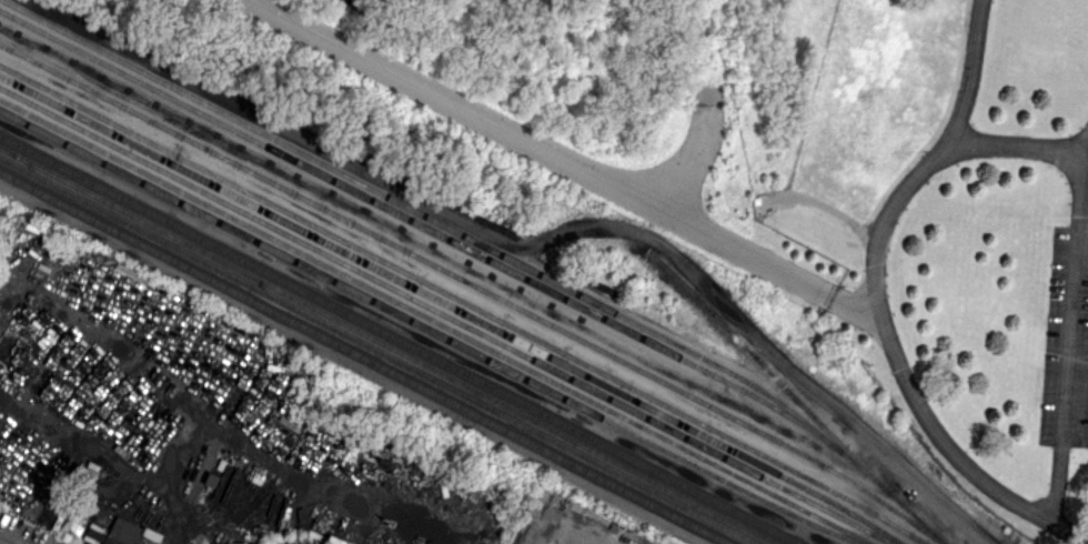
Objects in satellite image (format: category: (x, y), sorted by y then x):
road: (969, 70)
road: (1018, 147)
road: (568, 161)
railway: (423, 226)
railway: (488, 249)
railway: (648, 249)
railway: (475, 286)
railway: (464, 303)
railway: (451, 308)
railway: (446, 315)
railway: (435, 322)
railway: (430, 331)
road: (1067, 332)
railway: (399, 342)
railway: (386, 346)
railway: (376, 352)
railway: (365, 359)
road: (900, 370)
road: (567, 534)

